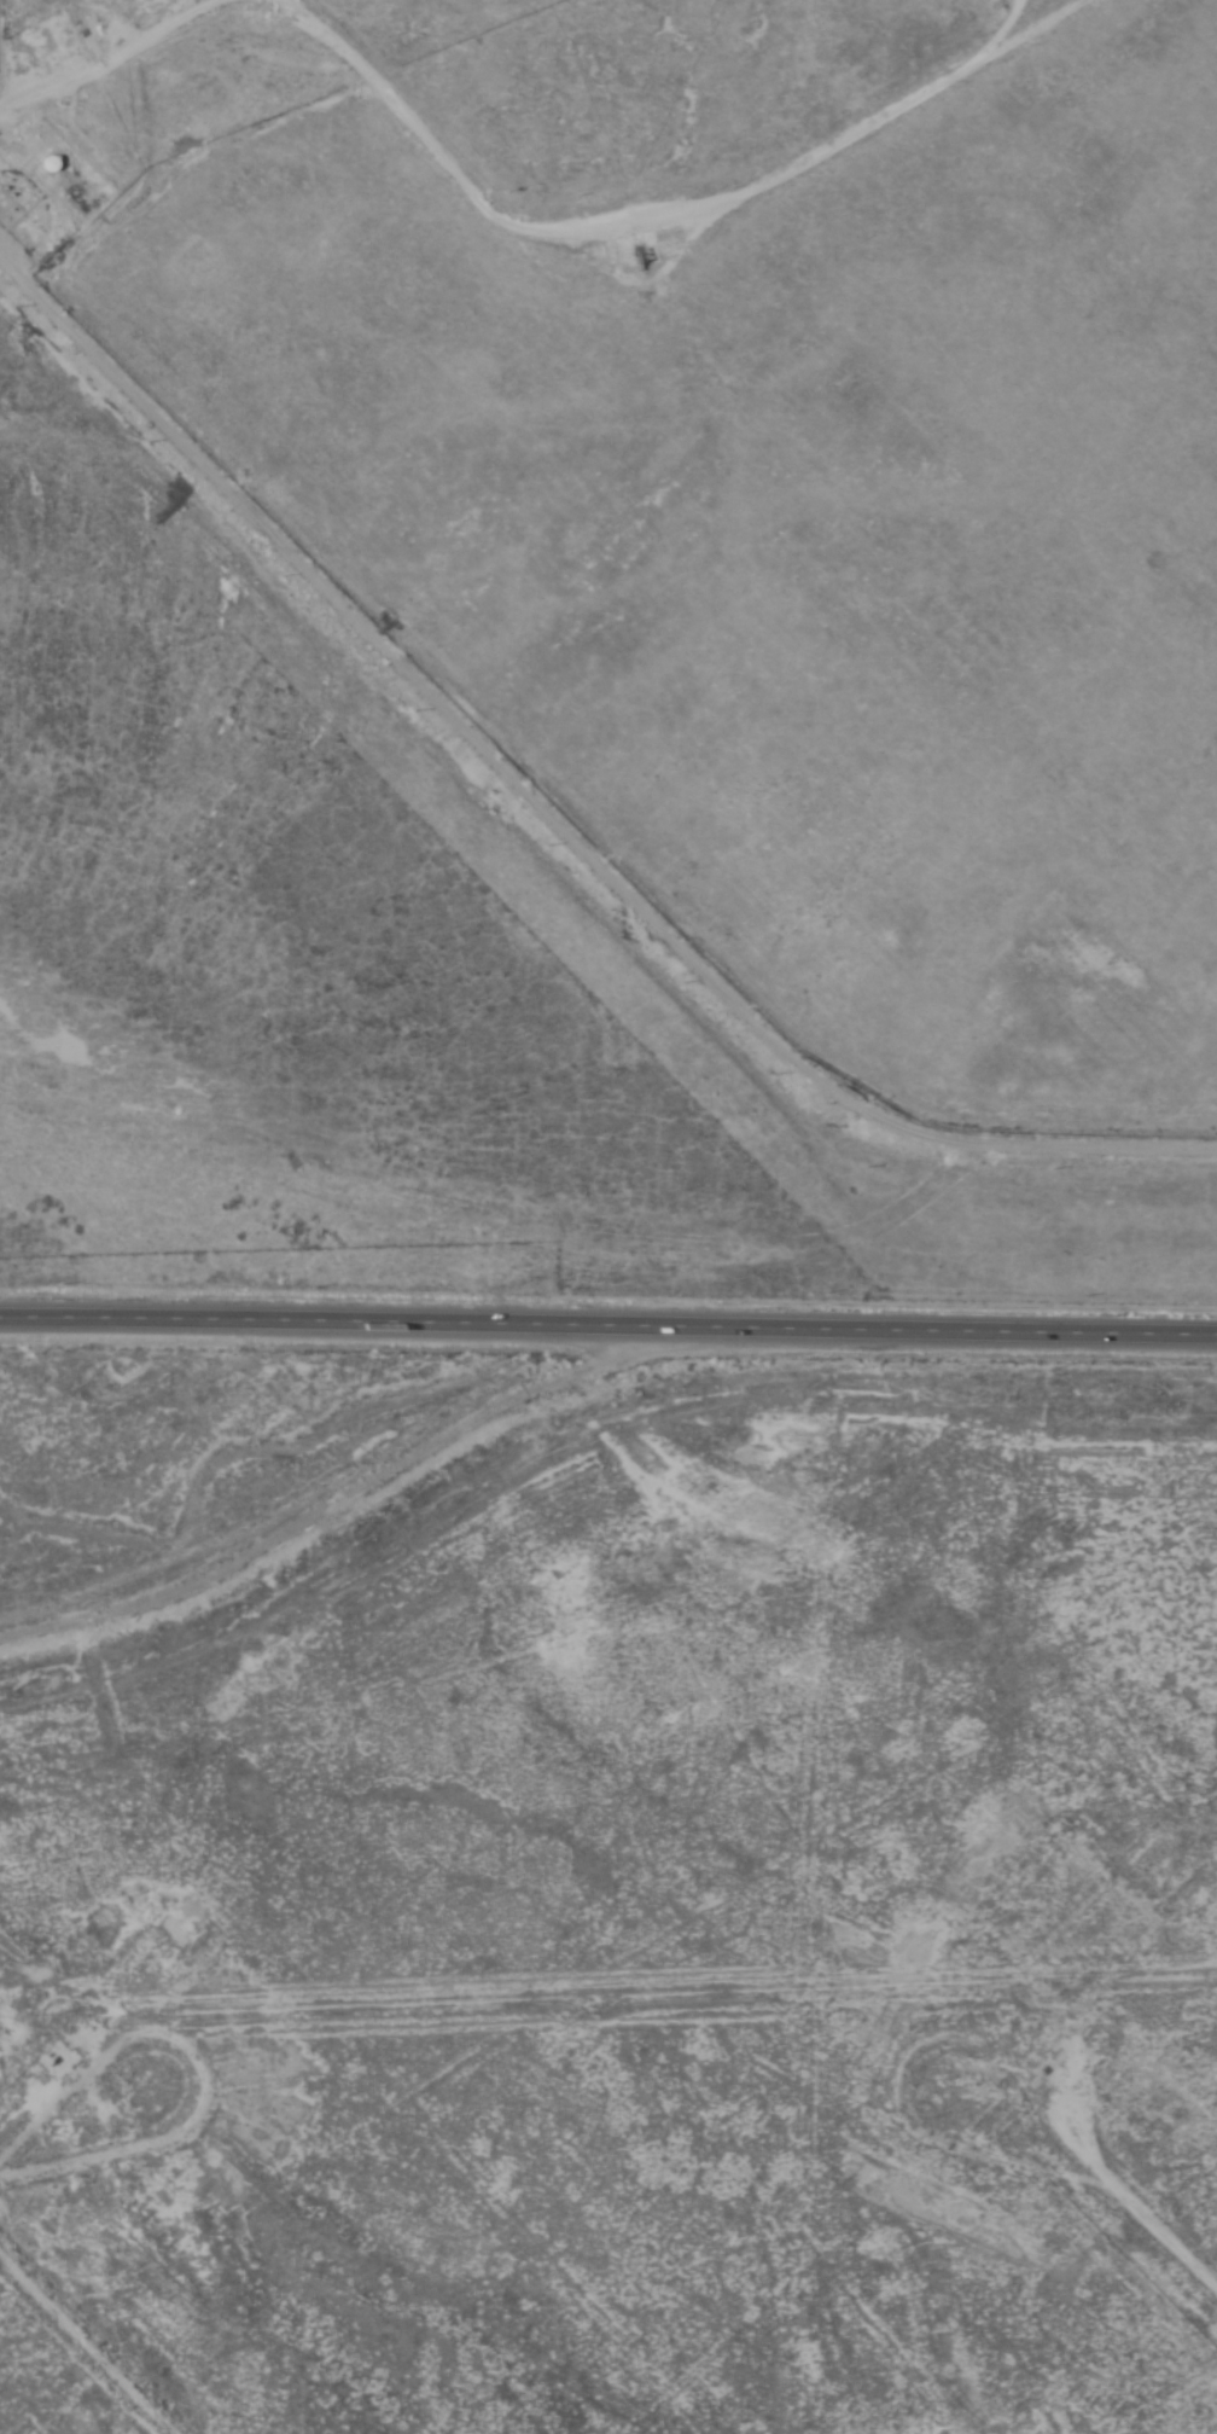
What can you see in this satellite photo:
road: (200, 156)
building: (52, 163)
road: (648, 209)
road: (308, 314)
road: (548, 830)
road: (608, 1324)
road: (333, 1503)
road: (63, 2125)
road: (1192, 2266)
road: (88, 2341)

